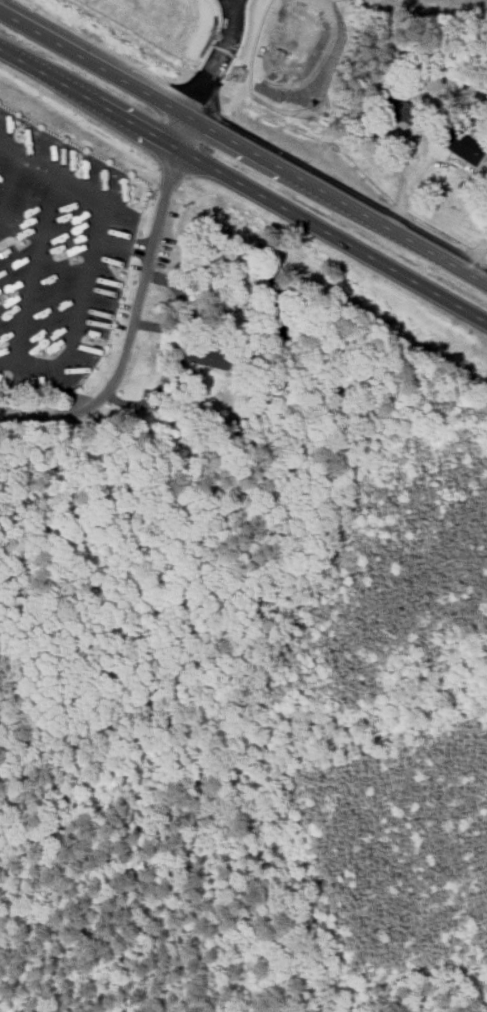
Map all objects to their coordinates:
road: (214, 76)
building: (396, 104)
road: (243, 143)
building: (462, 143)
road: (10, 146)
road: (400, 179)
road: (10, 181)
road: (244, 187)
road: (480, 249)
road: (88, 261)
road: (129, 327)
building: (203, 354)

